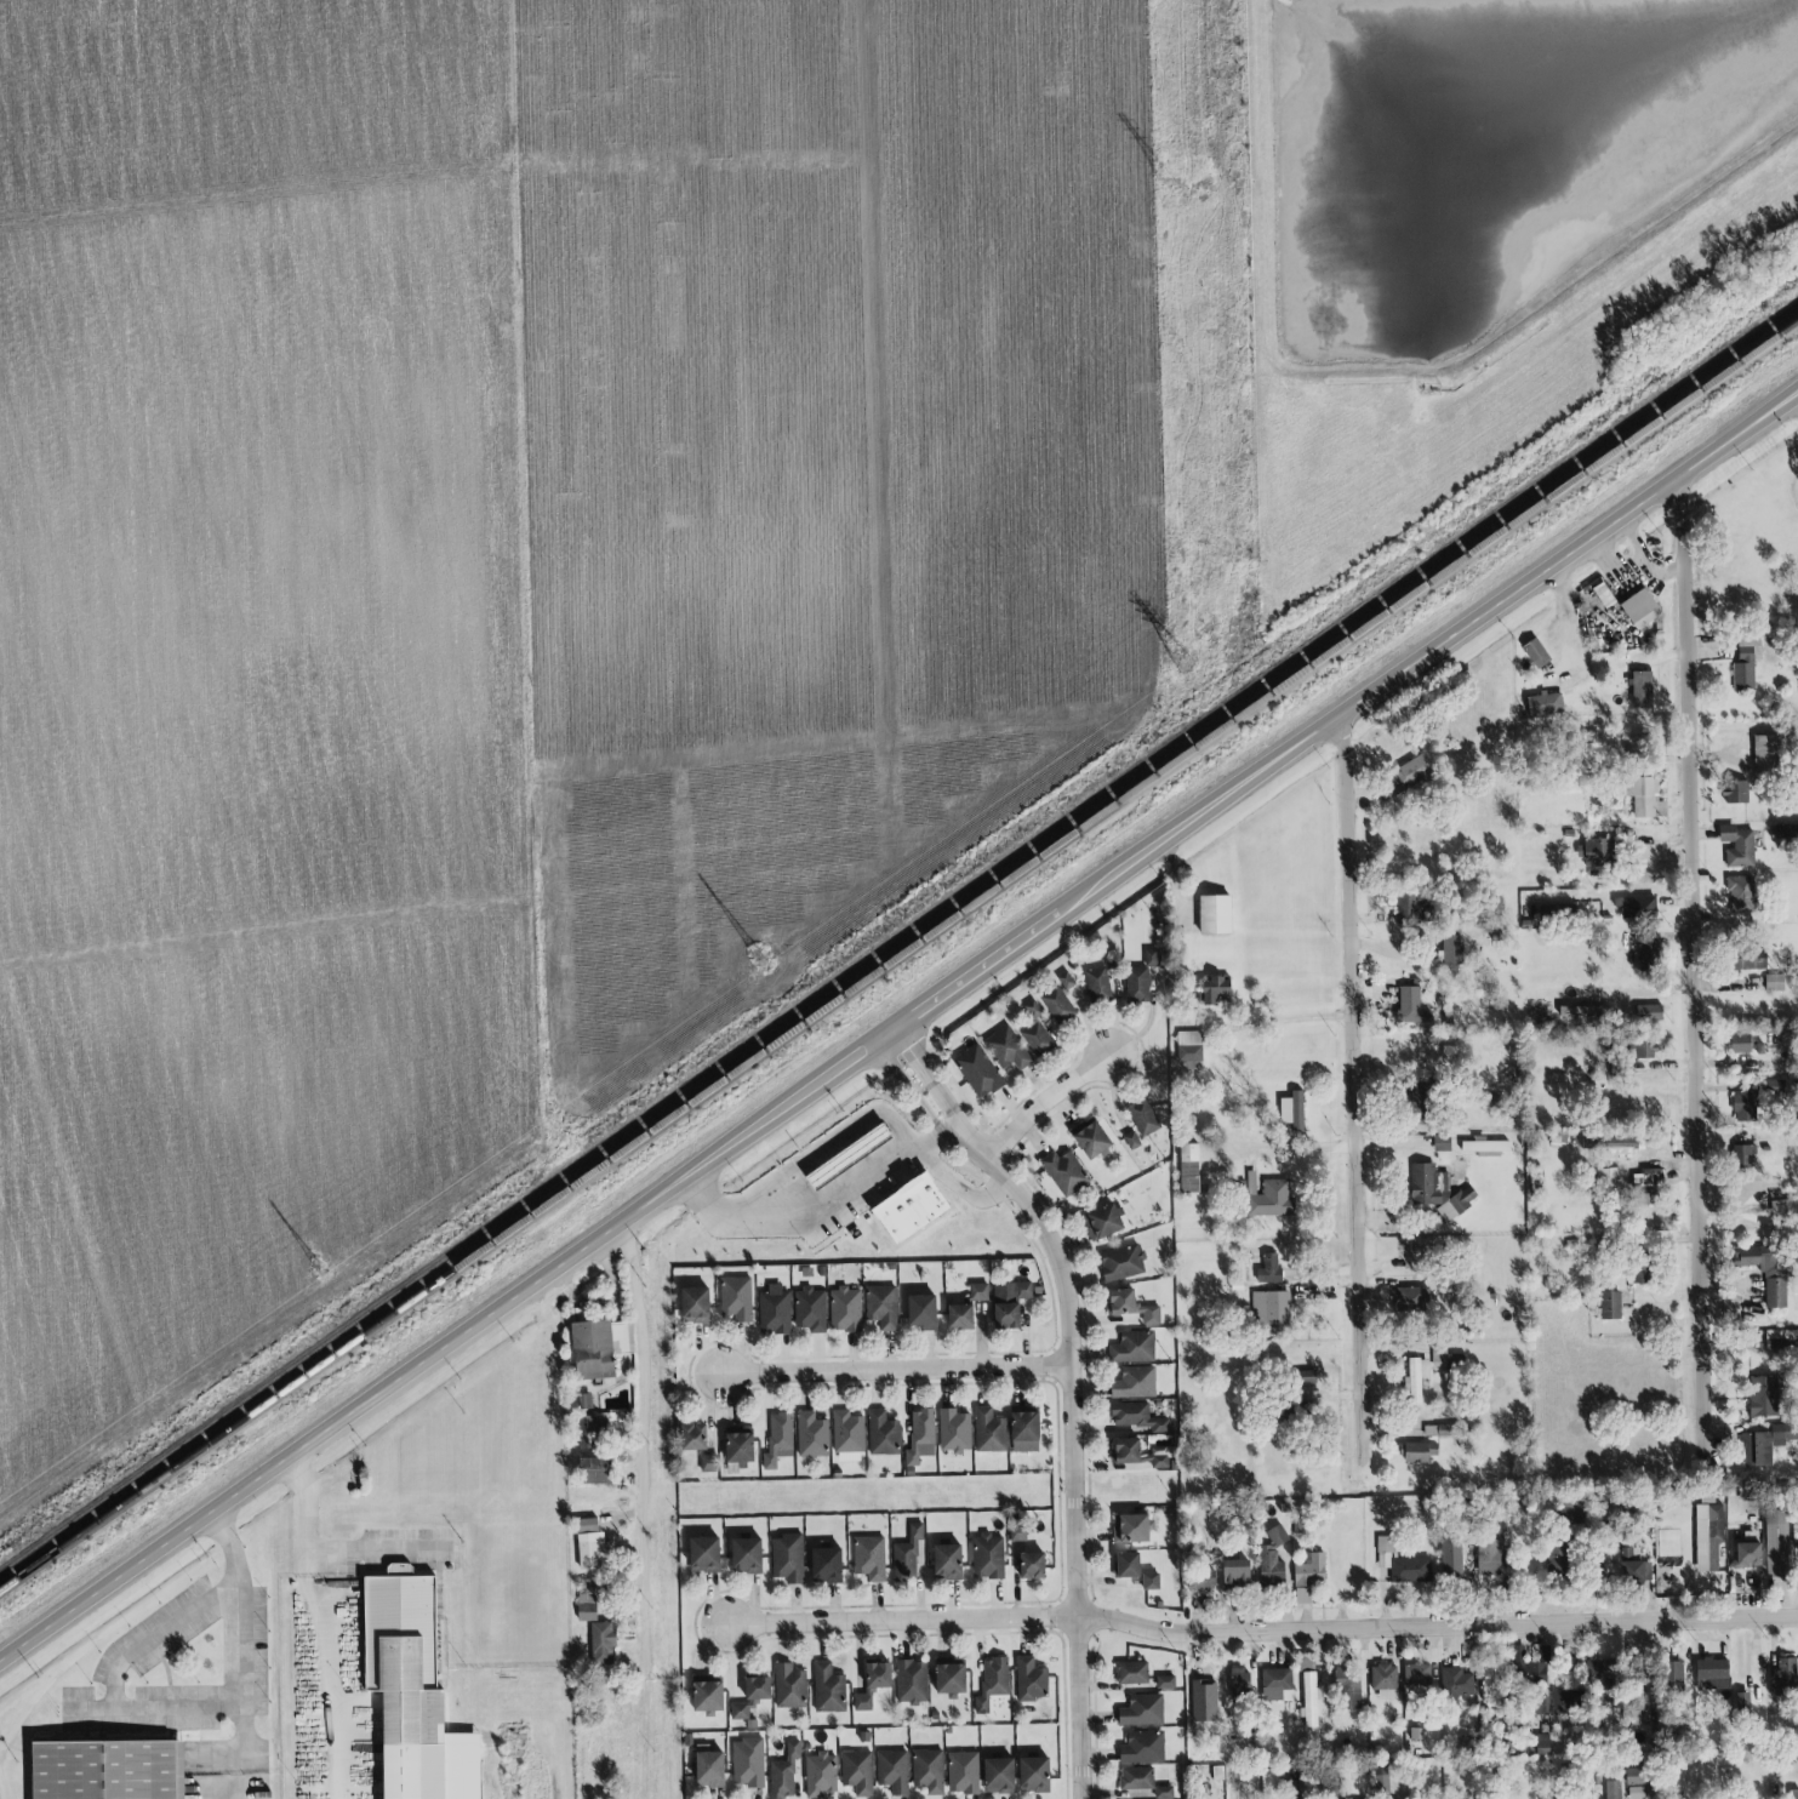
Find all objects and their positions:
power tower: (1168, 183)
building: (1642, 609)
building: (1536, 653)
power tower: (1180, 666)
building: (1745, 666)
building: (1643, 690)
building: (1545, 704)
building: (1638, 747)
building: (1765, 753)
building: (1411, 773)
building: (1736, 793)
building: (1645, 798)
building: (1786, 832)
building: (1737, 846)
building: (1596, 852)
building: (1741, 896)
building: (1637, 907)
building: (1408, 910)
building: (1215, 914)
railway: (901, 936)
building: (1452, 952)
building: (1649, 956)
building: (1151, 958)
power tower: (759, 960)
building: (1750, 960)
road: (1695, 967)
building: (1066, 981)
building: (1775, 983)
building: (1097, 984)
building: (1137, 984)
building: (1216, 990)
building: (1057, 1006)
building: (1412, 1006)
building: (1034, 1010)
building: (1585, 1012)
building: (1650, 1013)
road: (1251, 1021)
road: (896, 1028)
building: (1039, 1040)
building: (1741, 1044)
building: (1189, 1046)
building: (1006, 1049)
building: (1644, 1049)
building: (978, 1072)
road: (1354, 1086)
building: (1422, 1100)
building: (1298, 1102)
road: (1050, 1107)
building: (1745, 1109)
building: (1143, 1118)
road: (824, 1142)
building: (1092, 1142)
building: (1132, 1142)
building: (1622, 1142)
building: (1485, 1146)
road: (1305, 1150)
building: (1743, 1154)
building: (820, 1169)
building: (1189, 1169)
building: (1064, 1173)
building: (1610, 1175)
building: (1648, 1183)
road: (959, 1189)
building: (1438, 1192)
building: (1269, 1198)
road: (827, 1203)
building: (1785, 1209)
building: (912, 1210)
building: (1102, 1223)
building: (1121, 1263)
building: (1269, 1269)
building: (1643, 1272)
building: (1765, 1273)
power tower: (318, 1279)
building: (736, 1296)
building: (1411, 1298)
building: (1008, 1300)
building: (879, 1304)
building: (965, 1304)
building: (695, 1306)
building: (1610, 1306)
building: (1130, 1307)
building: (807, 1308)
building: (920, 1309)
building: (774, 1310)
building: (845, 1310)
building: (1271, 1310)
building: (1781, 1342)
building: (1132, 1346)
building: (1446, 1359)
road: (890, 1369)
building: (1306, 1377)
building: (1132, 1381)
building: (1416, 1381)
road: (1068, 1387)
building: (1763, 1397)
building: (586, 1401)
building: (1137, 1417)
building: (1022, 1422)
building: (952, 1429)
building: (987, 1429)
building: (880, 1432)
building: (588, 1433)
building: (918, 1433)
building: (811, 1435)
building: (693, 1438)
building: (778, 1438)
building: (847, 1438)
building: (1765, 1441)
building: (738, 1447)
building: (1420, 1452)
building: (1138, 1454)
building: (709, 1463)
building: (597, 1472)
road: (637, 1510)
building: (1575, 1512)
building: (1131, 1529)
building: (1018, 1535)
building: (1706, 1535)
building: (1777, 1543)
building: (590, 1546)
building: (1746, 1550)
building: (904, 1552)
building: (986, 1554)
road: (324, 1555)
building: (704, 1555)
building: (747, 1555)
building: (1489, 1557)
building: (869, 1558)
building: (1558, 1558)
building: (787, 1559)
building: (1451, 1559)
building: (1272, 1560)
building: (1029, 1561)
building: (826, 1563)
building: (947, 1563)
building: (1402, 1564)
building: (1129, 1566)
building: (1633, 1569)
building: (399, 1570)
building: (1311, 1570)
building: (1237, 1574)
building: (1201, 1581)
building: (1151, 1582)
building: (1302, 1597)
building: (587, 1601)
road: (898, 1623)
road: (1435, 1628)
road: (158, 1635)
road: (239, 1638)
building: (603, 1644)
road: (336, 1663)
building: (1529, 1666)
building: (1707, 1668)
building: (1132, 1673)
building: (1416, 1673)
building: (1603, 1673)
building: (947, 1675)
building: (1676, 1675)
building: (879, 1677)
building: (1028, 1678)
building: (1785, 1678)
building: (912, 1681)
building: (1385, 1681)
building: (992, 1683)
building: (1165, 1683)
building: (1240, 1683)
building: (1274, 1683)
building: (1456, 1683)
building: (789, 1687)
building: (1347, 1687)
building: (828, 1689)
building: (413, 1695)
building: (750, 1695)
building: (708, 1698)
building: (1307, 1698)
building: (863, 1702)
building: (1571, 1702)
building: (1743, 1702)
road: (152, 1707)
building: (1142, 1712)
building: (1542, 1744)
building: (1142, 1748)
building: (747, 1761)
building: (108, 1767)
building: (709, 1770)
building: (890, 1770)
building: (927, 1771)
building: (784, 1772)
building: (857, 1772)
building: (963, 1772)
building: (1032, 1772)
building: (997, 1774)
building: (821, 1775)
building: (1636, 1776)
building: (1381, 1777)
building: (1136, 1780)
road: (244, 1783)
building: (1164, 1793)
building: (1793, 1794)

